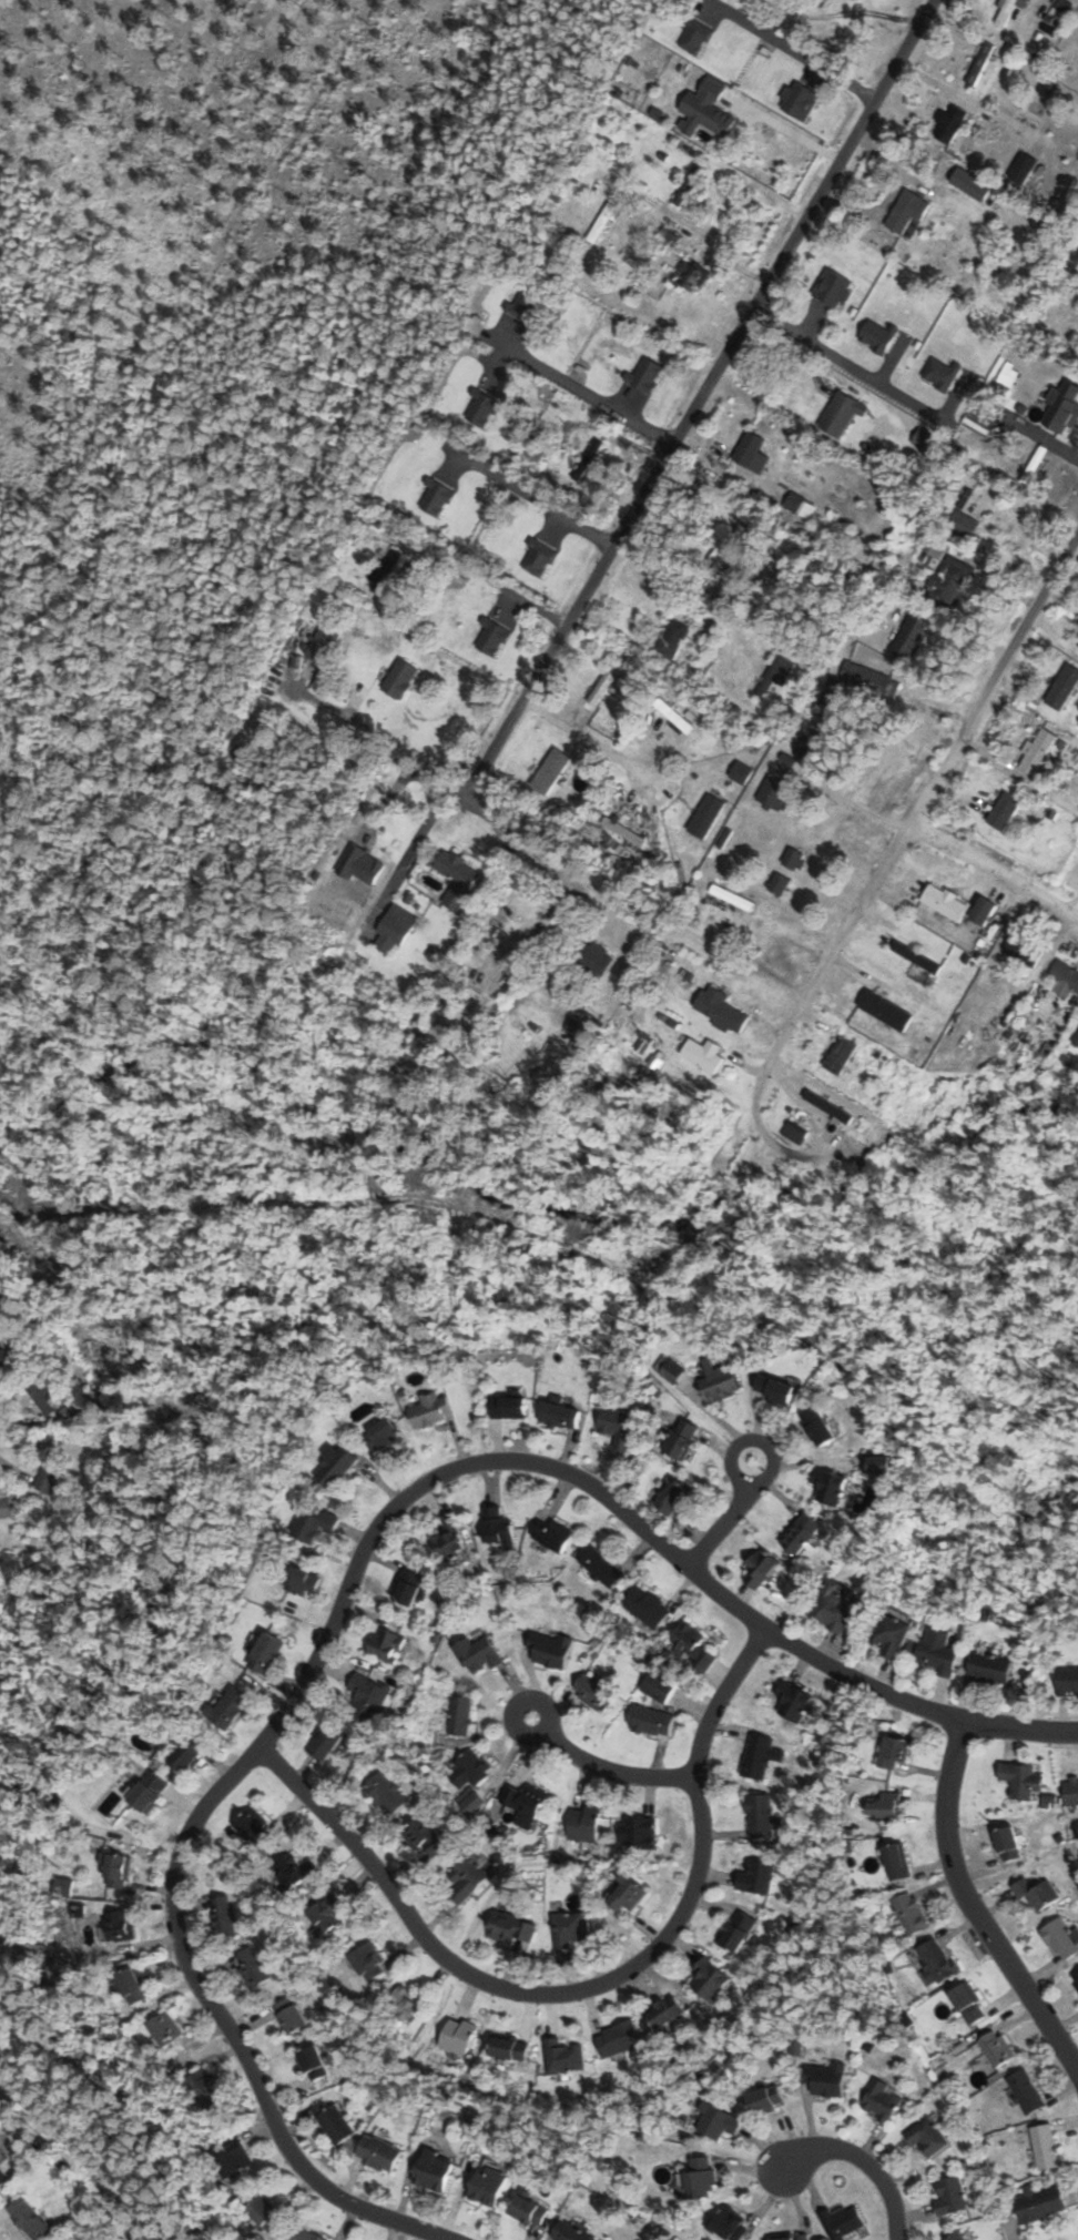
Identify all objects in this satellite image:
building: (743, 1)
building: (1006, 12)
road: (792, 49)
building: (980, 63)
building: (708, 114)
building: (949, 124)
building: (1023, 169)
building: (970, 184)
building: (908, 214)
building: (600, 225)
building: (690, 276)
building: (866, 310)
road: (793, 352)
building: (610, 363)
road: (584, 392)
road: (699, 398)
building: (842, 413)
building: (1070, 419)
building: (925, 440)
building: (539, 444)
building: (752, 453)
building: (1037, 460)
road: (533, 497)
building: (800, 508)
building: (964, 524)
building: (539, 550)
building: (723, 553)
building: (386, 570)
building: (950, 581)
road: (1059, 599)
road: (1054, 630)
building: (502, 632)
building: (675, 636)
building: (912, 636)
building: (323, 642)
building: (775, 676)
building: (400, 678)
building: (604, 682)
building: (842, 685)
building: (1064, 688)
building: (675, 717)
road: (593, 741)
building: (806, 747)
building: (1037, 751)
building: (551, 771)
building: (742, 772)
building: (775, 794)
road: (855, 804)
building: (1004, 811)
road: (918, 813)
building: (706, 817)
road: (513, 829)
building: (794, 860)
building: (359, 865)
road: (996, 868)
building: (459, 880)
building: (780, 884)
building: (945, 903)
building: (393, 931)
building: (1023, 951)
building: (597, 959)
building: (917, 959)
road: (496, 969)
building: (1066, 975)
building: (721, 1008)
building: (885, 1011)
building: (443, 1043)
building: (840, 1055)
building: (704, 1056)
building: (827, 1107)
building: (2, 1358)
building: (669, 1368)
building: (719, 1380)
building: (774, 1389)
building: (47, 1398)
building: (508, 1407)
building: (430, 1409)
building: (560, 1416)
building: (618, 1426)
building: (818, 1426)
building: (383, 1438)
building: (682, 1439)
building: (336, 1464)
building: (886, 1464)
building: (49, 1473)
building: (828, 1486)
building: (672, 1497)
building: (6, 1508)
road: (728, 1518)
building: (314, 1523)
building: (498, 1529)
building: (801, 1534)
building: (548, 1535)
building: (448, 1540)
building: (602, 1568)
building: (761, 1568)
building: (303, 1582)
building: (409, 1588)
building: (836, 1606)
building: (647, 1608)
road: (332, 1624)
building: (892, 1633)
building: (387, 1644)
building: (691, 1645)
building: (549, 1650)
building: (937, 1652)
building: (266, 1654)
building: (478, 1654)
building: (989, 1669)
building: (1067, 1682)
building: (658, 1686)
building: (592, 1689)
building: (367, 1697)
building: (793, 1701)
building: (228, 1709)
building: (459, 1715)
building: (651, 1721)
road: (1020, 1729)
building: (326, 1742)
building: (894, 1753)
building: (189, 1754)
building: (760, 1756)
road: (603, 1768)
building: (469, 1772)
building: (1021, 1781)
building: (1071, 1791)
building: (150, 1793)
building: (386, 1793)
building: (525, 1800)
building: (884, 1806)
building: (761, 1815)
building: (584, 1824)
building: (254, 1827)
building: (640, 1833)
building: (423, 1835)
building: (1008, 1844)
building: (896, 1861)
building: (292, 1871)
building: (115, 1872)
building: (467, 1877)
building: (757, 1877)
building: (626, 1893)
building: (1036, 1895)
road: (972, 1909)
building: (325, 1914)
building: (911, 1914)
building: (224, 1915)
building: (120, 1926)
building: (510, 1928)
building: (571, 1928)
building: (739, 1930)
building: (1061, 1937)
building: (366, 1959)
building: (935, 1960)
building: (251, 1968)
building: (710, 1978)
building: (1075, 1979)
building: (132, 1986)
road: (584, 1988)
building: (406, 2003)
building: (966, 2005)
building: (665, 2013)
building: (291, 2015)
building: (164, 2030)
building: (458, 2037)
building: (618, 2039)
building: (996, 2049)
building: (509, 2050)
building: (563, 2057)
building: (312, 2064)
building: (826, 2079)
building: (205, 2090)
building: (1025, 2092)
building: (766, 2100)
building: (881, 2101)
building: (333, 2121)
building: (715, 2121)
building: (927, 2136)
building: (1045, 2147)
building: (379, 2153)
building: (231, 2159)
road: (858, 2159)
building: (434, 2170)
building: (1, 2172)
building: (702, 2176)
building: (488, 2186)
building: (950, 2196)
building: (1039, 2203)
building: (529, 2211)
building: (264, 2214)
building: (28, 2219)
building: (844, 2222)
building: (730, 2226)
building: (569, 2232)
building: (305, 2234)
building: (958, 2237)
building: (793, 2238)

